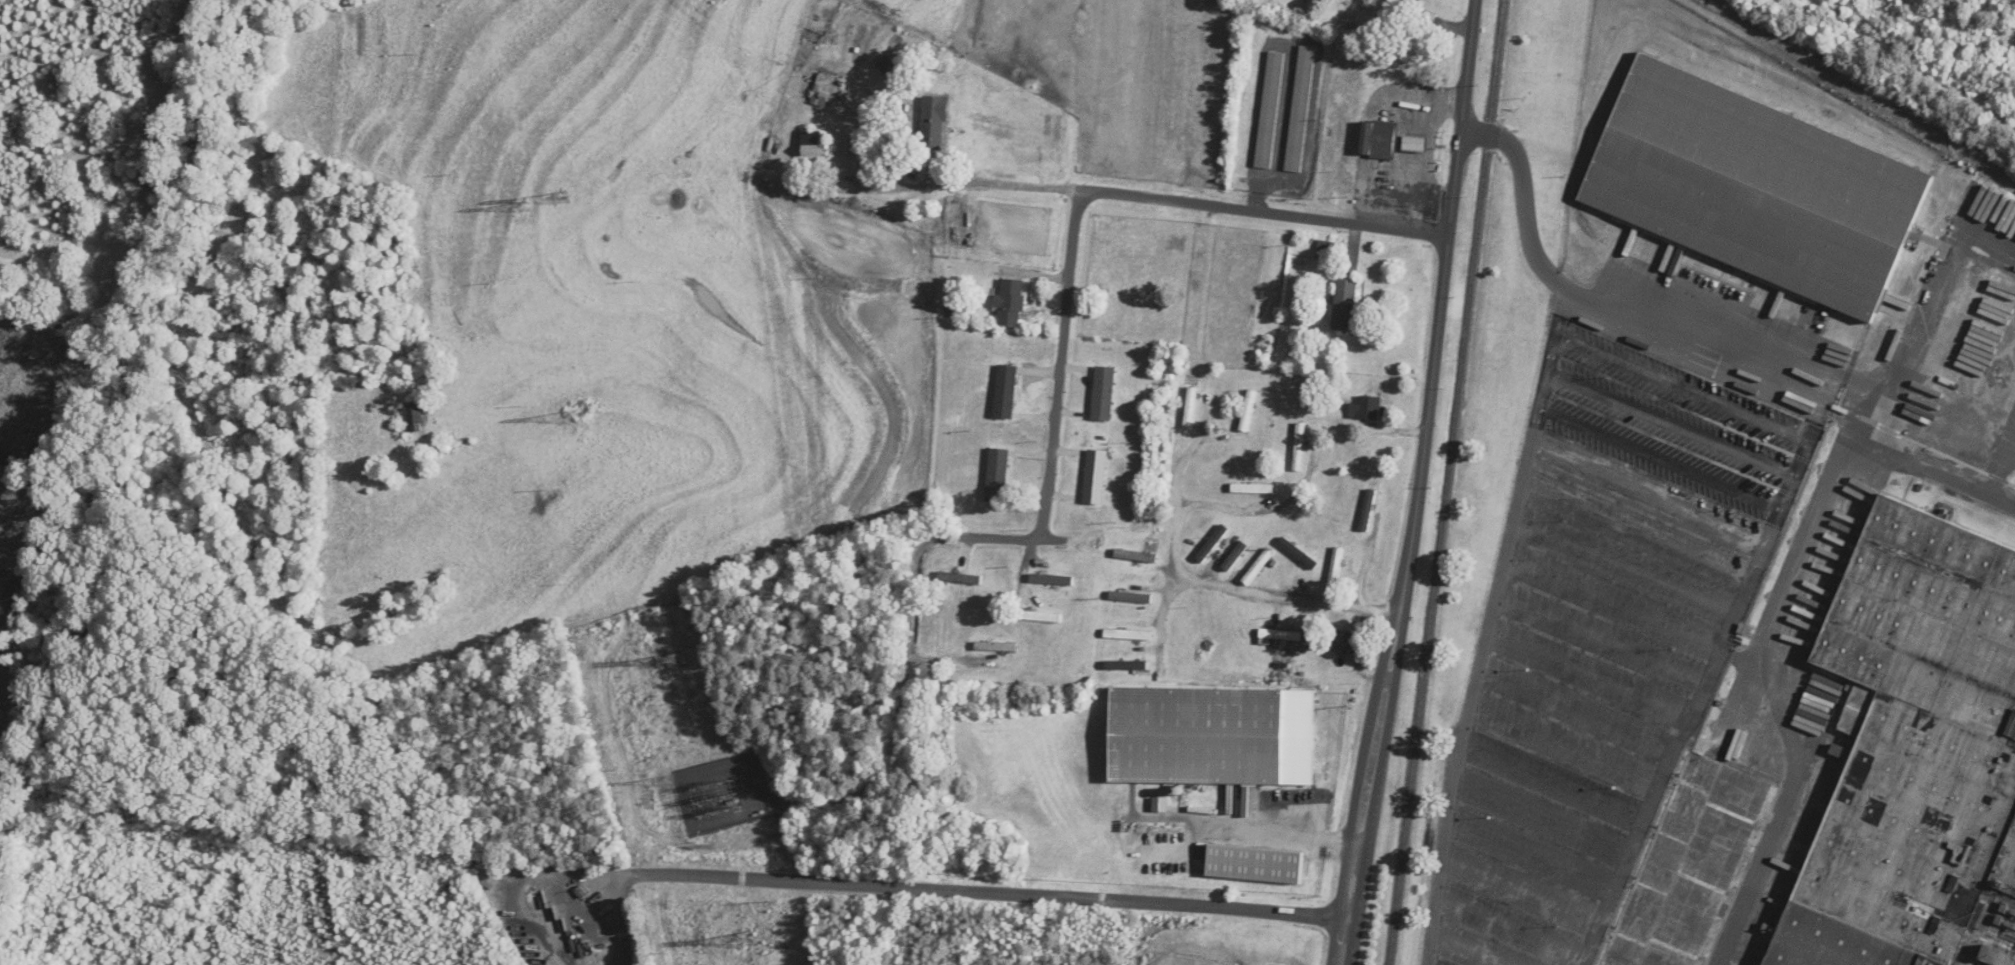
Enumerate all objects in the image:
building: (822, 90)
railway: (1863, 92)
building: (1269, 110)
building: (1299, 110)
building: (934, 124)
building: (1378, 140)
building: (1413, 145)
building: (815, 147)
building: (1760, 187)
road: (881, 192)
power tower: (559, 198)
road: (1201, 205)
power tower: (521, 209)
road: (1071, 269)
building: (1009, 303)
building: (1344, 306)
road: (1711, 332)
building: (1004, 392)
building: (1102, 394)
building: (1190, 408)
building: (1365, 409)
building: (1248, 411)
road: (1872, 412)
power tower: (570, 417)
river: (155, 445)
building: (1299, 447)
building: (997, 476)
building: (1094, 477)
road: (1422, 484)
building: (1252, 489)
road: (1252, 506)
building: (1368, 510)
road: (1181, 532)
road: (927, 542)
building: (1212, 544)
building: (1298, 552)
building: (1135, 556)
building: (1235, 556)
building: (1257, 567)
building: (1335, 568)
building: (961, 577)
building: (1050, 579)
road: (1289, 596)
building: (1130, 597)
building: (1036, 616)
road: (1794, 625)
building: (1127, 634)
building: (1284, 638)
parking lot: (1616, 639)
building: (1343, 642)
building: (996, 646)
power tower: (671, 659)
building: (1125, 664)
building: (1211, 736)
building: (1917, 746)
power substation: (721, 793)
road: (1270, 839)
building: (1683, 864)
road: (974, 893)
building: (1996, 920)
power tower: (742, 939)

